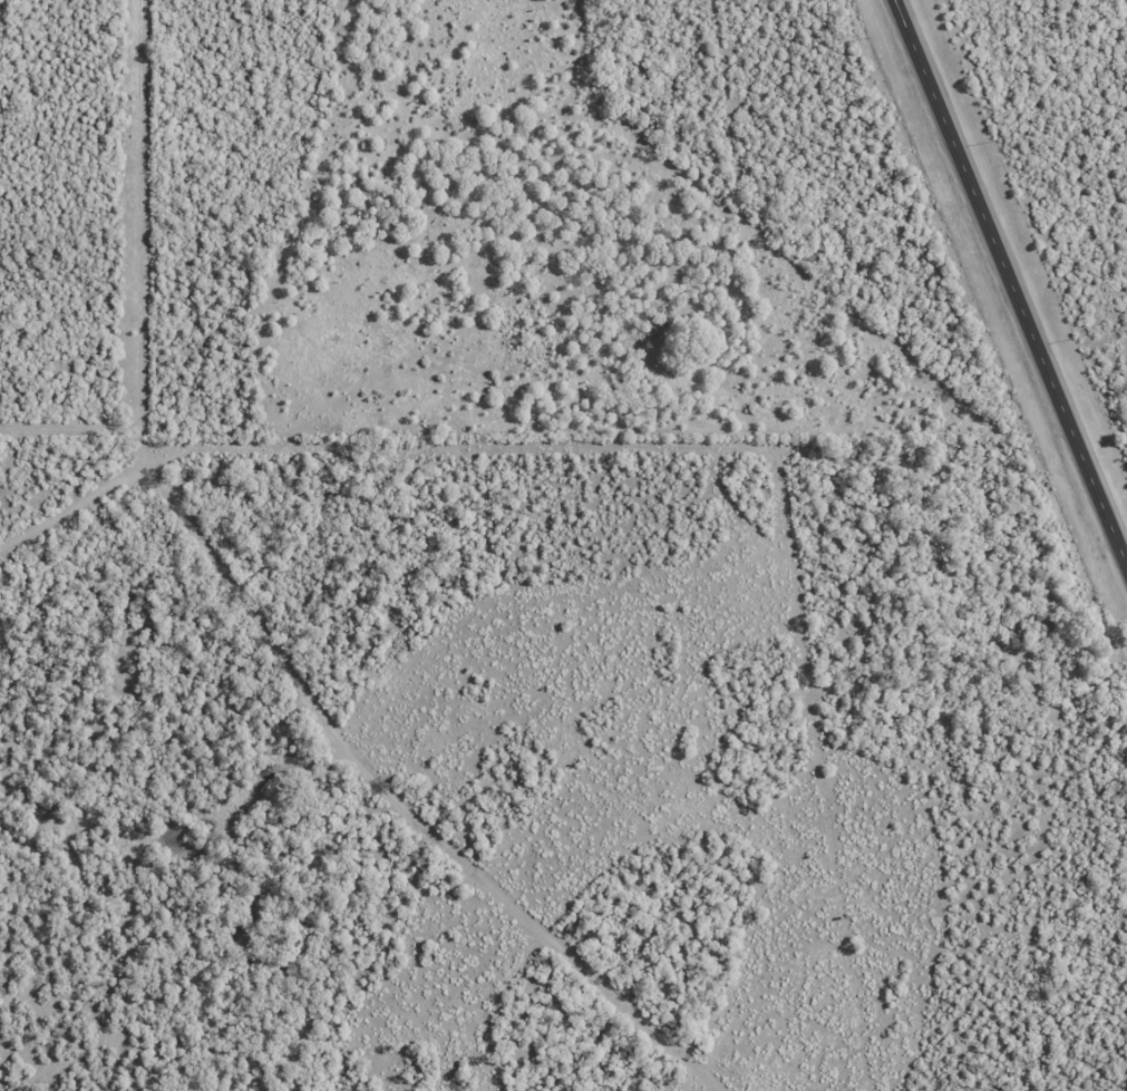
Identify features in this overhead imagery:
power tower: (865, 38)
road: (1009, 283)
power tower: (987, 331)
power tower: (1100, 606)

